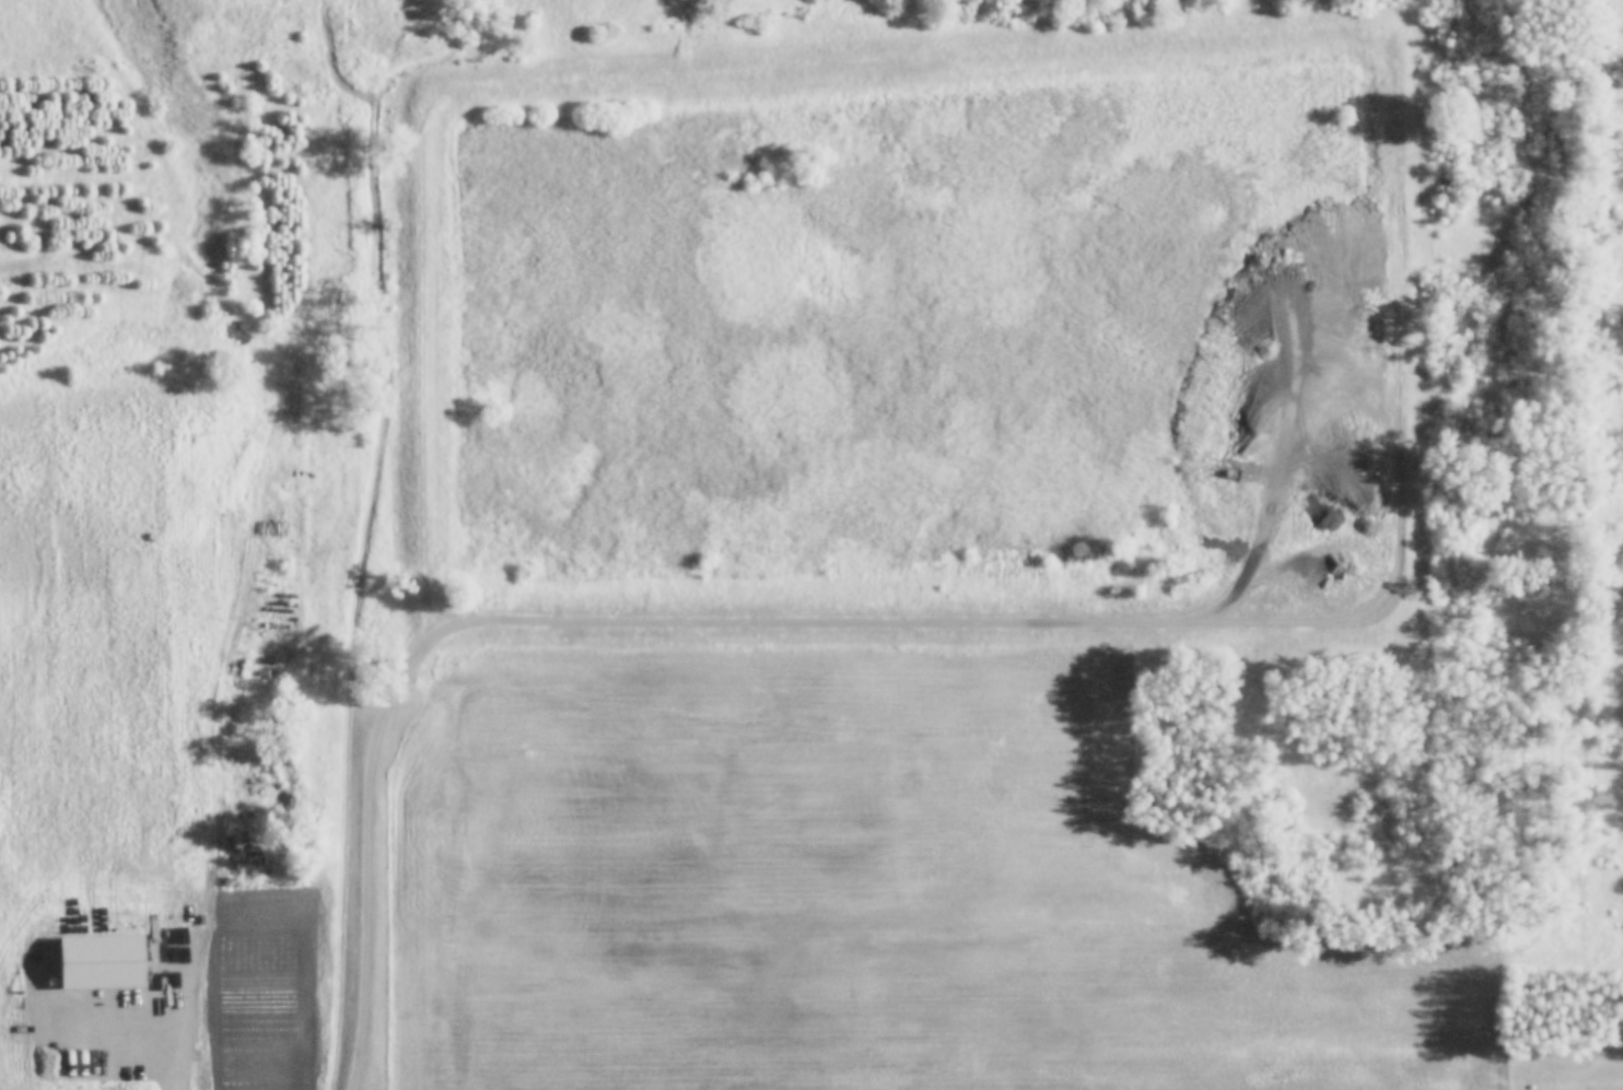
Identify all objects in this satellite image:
road: (685, 36)
road: (889, 59)
road: (1398, 538)
road: (579, 621)

